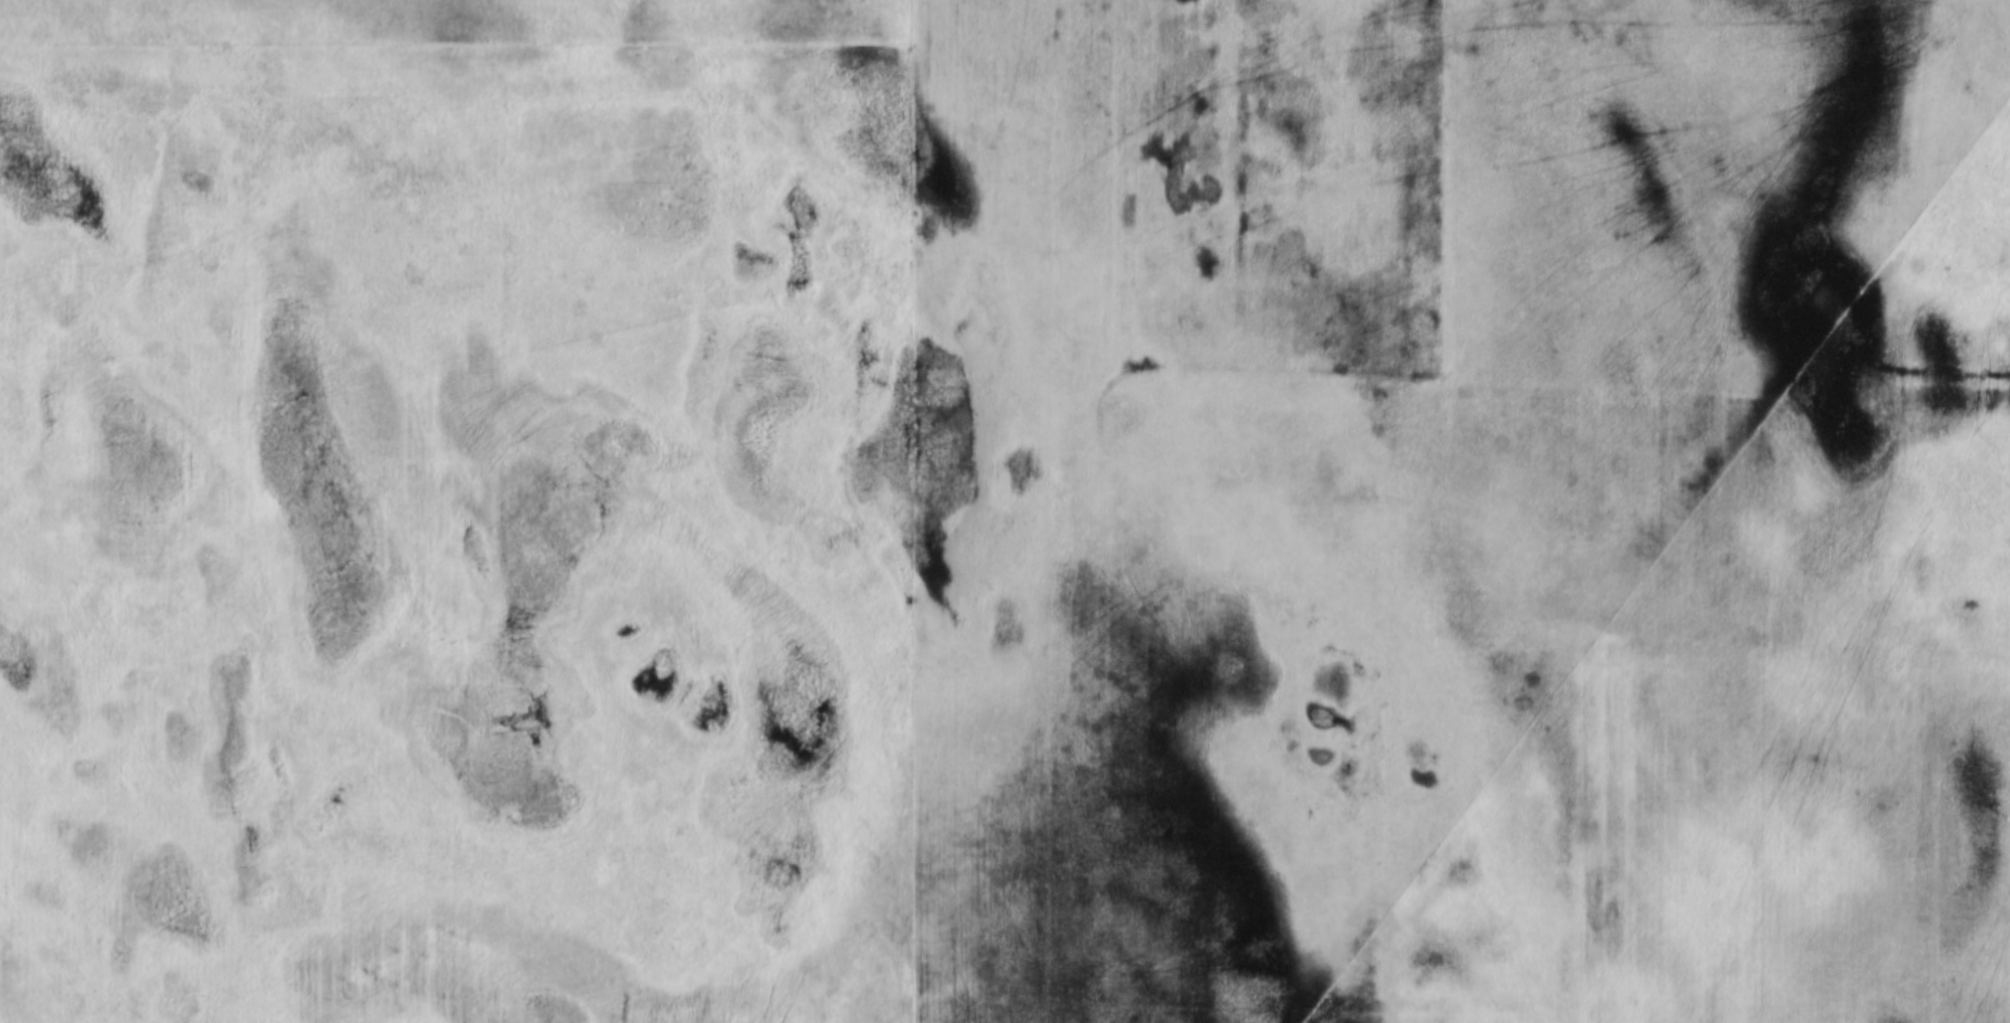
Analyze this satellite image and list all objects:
road: (1999, 11)

